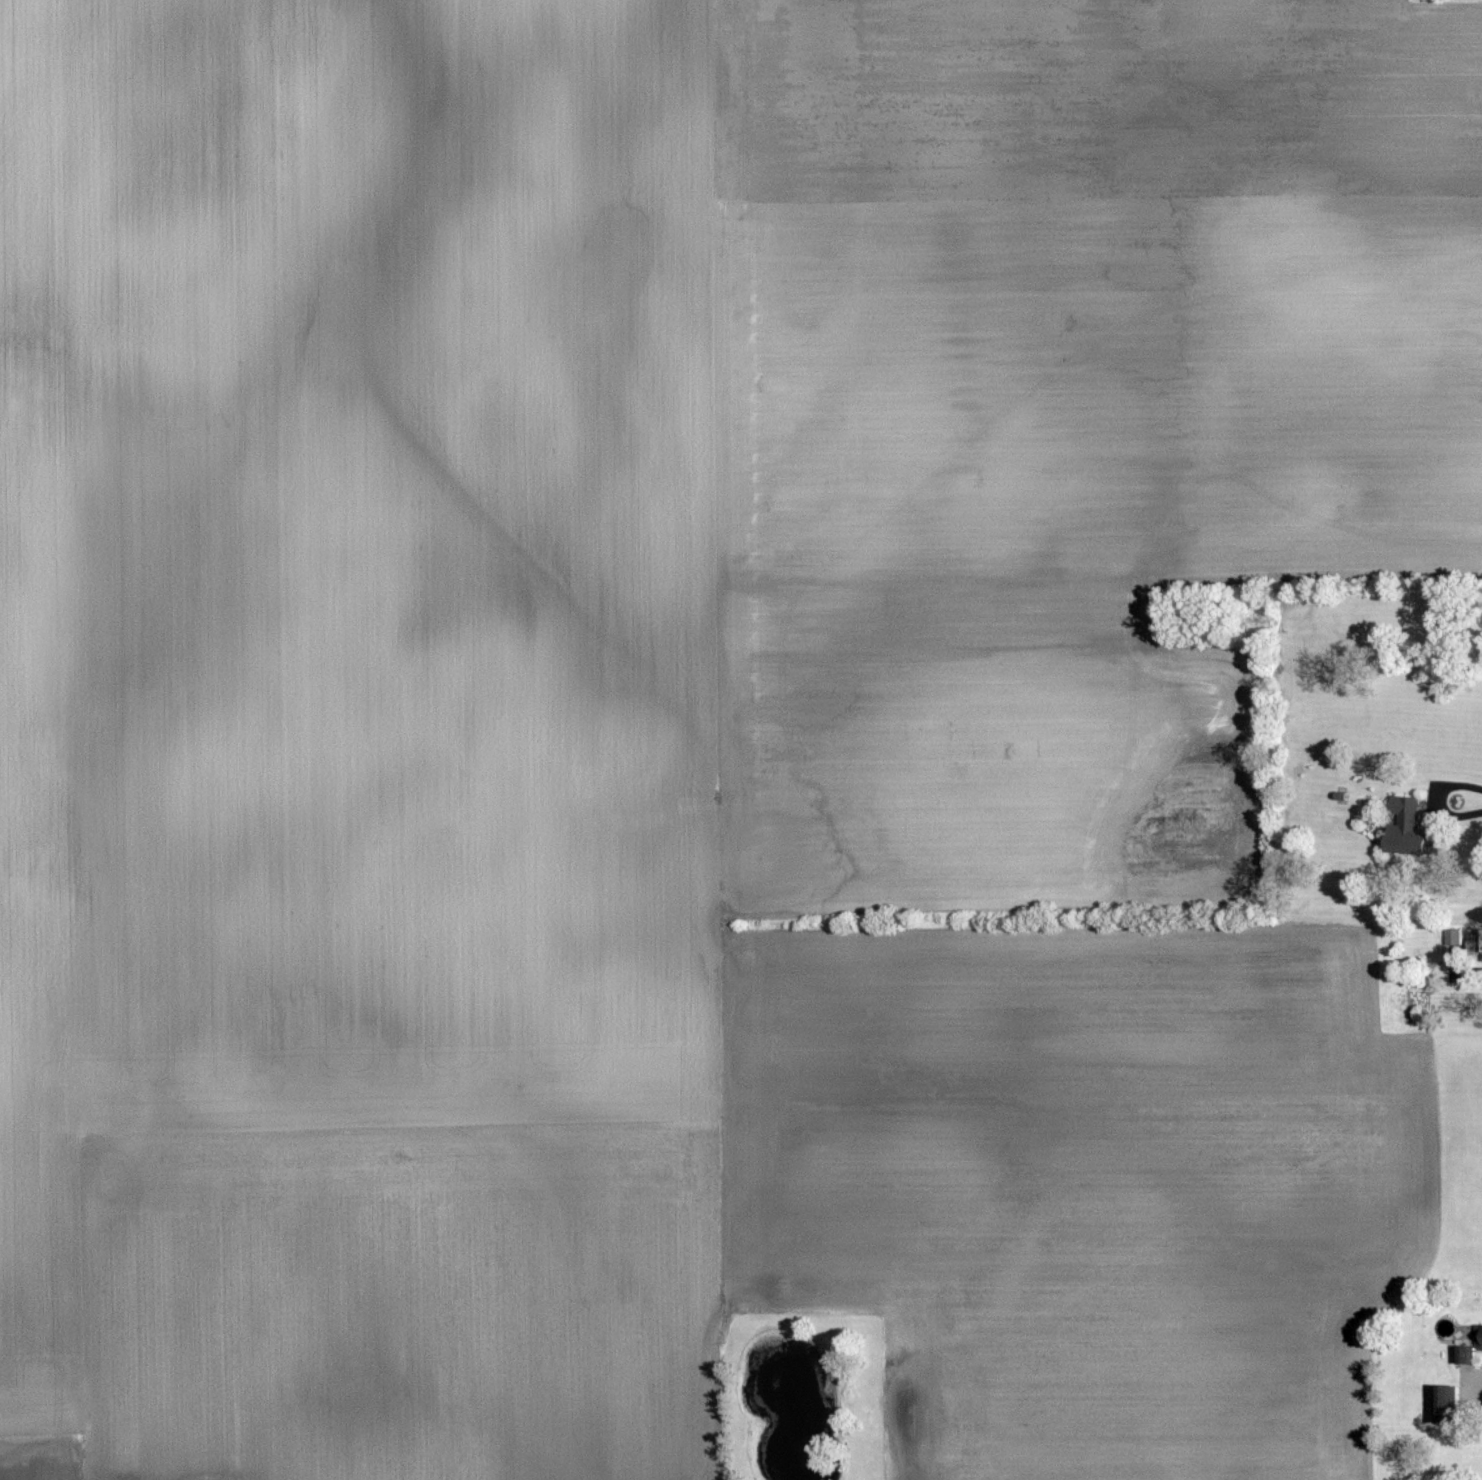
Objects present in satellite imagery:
road: (1442, 802)
building: (1402, 828)
building: (1451, 937)
building: (1477, 940)
building: (1478, 1343)
road: (1478, 1378)
building: (1444, 1405)

